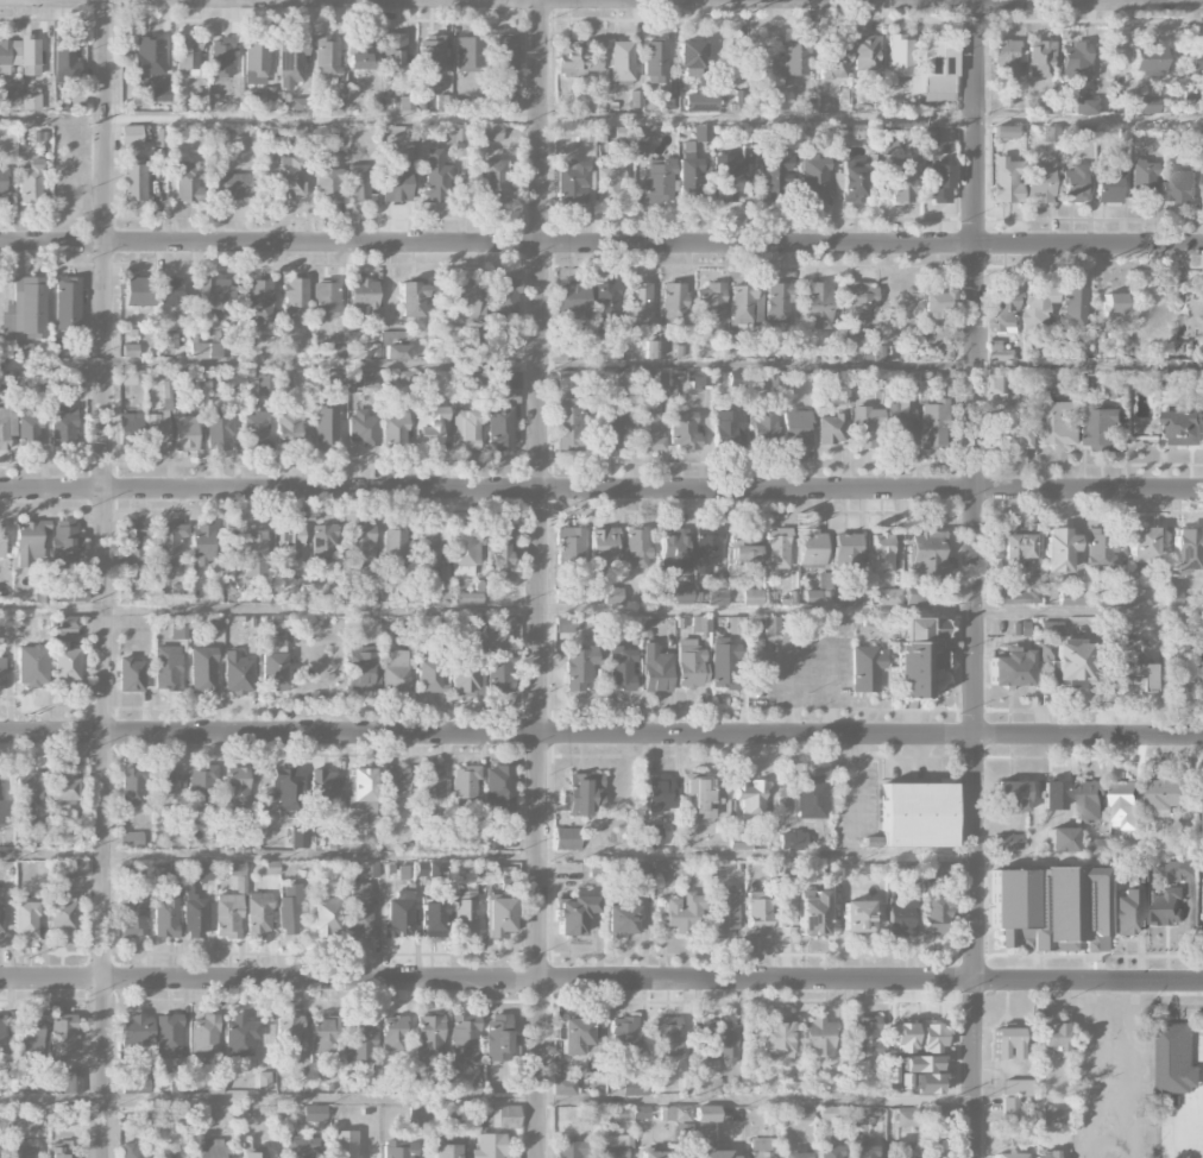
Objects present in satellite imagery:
road: (1089, 0)
building: (393, 51)
building: (865, 52)
building: (467, 54)
building: (503, 54)
building: (359, 55)
building: (899, 55)
building: (21, 56)
building: (149, 56)
building: (188, 56)
building: (1004, 56)
building: (64, 57)
building: (220, 57)
building: (432, 57)
building: (792, 57)
building: (834, 57)
building: (326, 58)
building: (689, 58)
building: (1148, 58)
building: (1039, 59)
building: (575, 61)
building: (1198, 61)
building: (256, 62)
building: (289, 62)
building: (655, 62)
building: (1075, 62)
building: (936, 71)
building: (1004, 77)
building: (158, 94)
building: (1186, 97)
building: (2, 100)
building: (340, 101)
building: (667, 101)
building: (30, 102)
building: (701, 102)
building: (1144, 105)
building: (1084, 107)
road: (654, 118)
building: (850, 132)
building: (1003, 132)
building: (644, 133)
building: (132, 134)
building: (218, 134)
building: (454, 136)
building: (928, 136)
building: (491, 137)
building: (888, 139)
building: (773, 172)
building: (688, 174)
building: (730, 175)
building: (134, 178)
building: (290, 178)
building: (813, 178)
building: (395, 180)
building: (493, 180)
building: (1006, 180)
building: (2, 181)
building: (185, 181)
building: (659, 181)
building: (1038, 181)
building: (1142, 181)
building: (31, 182)
building: (327, 182)
building: (357, 182)
building: (436, 182)
building: (573, 182)
building: (897, 183)
building: (938, 183)
building: (1076, 183)
building: (851, 184)
building: (232, 185)
building: (609, 185)
building: (1107, 185)
building: (1180, 187)
road: (600, 245)
building: (137, 291)
building: (172, 291)
building: (363, 294)
building: (503, 296)
building: (326, 298)
building: (294, 300)
building: (410, 300)
building: (212, 301)
building: (465, 301)
building: (572, 301)
building: (673, 302)
building: (67, 303)
building: (711, 303)
building: (777, 303)
building: (936, 303)
building: (638, 304)
building: (742, 304)
building: (817, 304)
building: (1114, 304)
building: (258, 306)
building: (758, 306)
building: (609, 307)
building: (26, 308)
building: (859, 308)
building: (1038, 308)
building: (1075, 308)
building: (1006, 309)
building: (1193, 317)
building: (170, 341)
building: (471, 346)
building: (130, 350)
building: (206, 351)
building: (396, 351)
building: (336, 352)
building: (874, 353)
road: (600, 366)
building: (133, 377)
building: (1115, 377)
building: (369, 379)
building: (657, 379)
building: (699, 379)
building: (575, 380)
building: (625, 380)
building: (1171, 380)
building: (7, 382)
building: (442, 384)
building: (510, 384)
building: (1000, 384)
building: (264, 385)
building: (159, 420)
building: (899, 421)
building: (567, 424)
building: (6, 426)
building: (62, 426)
building: (428, 426)
building: (932, 426)
building: (1060, 426)
building: (289, 427)
building: (363, 427)
building: (865, 427)
building: (1103, 427)
building: (1186, 427)
building: (498, 428)
building: (648, 428)
building: (219, 429)
building: (326, 429)
building: (612, 429)
building: (767, 429)
building: (831, 429)
building: (29, 430)
building: (128, 430)
building: (256, 430)
building: (465, 430)
building: (684, 430)
building: (728, 430)
building: (796, 430)
building: (395, 432)
building: (184, 433)
building: (1014, 436)
road: (601, 490)
building: (1, 540)
building: (29, 541)
building: (1142, 541)
building: (133, 542)
building: (202, 542)
building: (323, 542)
building: (169, 543)
building: (710, 543)
building: (359, 546)
building: (395, 546)
building: (427, 546)
building: (500, 546)
building: (289, 547)
building: (637, 547)
building: (1014, 547)
building: (465, 548)
building: (603, 548)
building: (776, 548)
building: (1101, 548)
building: (1185, 548)
building: (569, 549)
building: (812, 549)
building: (67, 550)
building: (1057, 550)
building: (254, 552)
building: (676, 552)
building: (927, 553)
building: (846, 554)
building: (881, 554)
building: (745, 555)
road: (103, 578)
road: (540, 578)
road: (975, 579)
building: (717, 591)
building: (675, 593)
building: (1173, 593)
building: (71, 596)
building: (266, 596)
building: (304, 596)
building: (504, 596)
building: (563, 596)
building: (612, 596)
building: (1110, 596)
building: (752, 597)
building: (824, 597)
building: (852, 597)
building: (889, 597)
building: (1133, 597)
building: (468, 598)
building: (1015, 598)
road: (601, 611)
building: (214, 622)
building: (281, 623)
building: (563, 623)
building: (701, 624)
building: (1185, 624)
building: (732, 625)
building: (771, 627)
building: (178, 628)
building: (1043, 650)
building: (67, 652)
building: (918, 655)
building: (1069, 662)
building: (691, 665)
building: (725, 665)
building: (32, 666)
building: (578, 667)
building: (1201, 667)
building: (168, 668)
building: (361, 668)
building: (622, 668)
building: (865, 668)
building: (1010, 668)
building: (202, 669)
building: (655, 669)
building: (272, 671)
building: (500, 671)
building: (396, 672)
building: (465, 672)
building: (2, 673)
building: (237, 673)
building: (131, 674)
building: (429, 675)
building: (1127, 676)
road: (601, 730)
building: (396, 780)
building: (464, 781)
building: (168, 782)
building: (430, 782)
building: (323, 785)
building: (132, 786)
building: (202, 787)
building: (285, 788)
building: (498, 788)
building: (360, 789)
building: (27, 791)
building: (64, 791)
building: (237, 792)
building: (582, 794)
building: (660, 794)
building: (1012, 794)
building: (1054, 794)
building: (701, 795)
building: (1165, 795)
building: (750, 797)
building: (807, 798)
building: (1090, 801)
building: (1125, 804)
building: (915, 816)
building: (651, 836)
building: (300, 837)
building: (567, 838)
building: (131, 839)
building: (1062, 839)
building: (793, 841)
building: (741, 842)
building: (1007, 842)
road: (51, 855)
road: (651, 856)
building: (75, 867)
building: (238, 868)
building: (666, 868)
building: (638, 869)
building: (786, 869)
building: (1182, 869)
building: (175, 870)
building: (202, 873)
building: (367, 873)
building: (238, 883)
building: (1165, 906)
building: (359, 908)
building: (1048, 908)
building: (465, 910)
building: (934, 910)
building: (725, 911)
building: (757, 912)
building: (165, 913)
building: (685, 913)
building: (899, 913)
building: (1126, 913)
building: (258, 914)
building: (574, 914)
building: (812, 914)
building: (196, 915)
building: (227, 915)
building: (399, 915)
building: (855, 915)
building: (63, 917)
building: (288, 917)
building: (323, 917)
building: (499, 917)
building: (0, 918)
building: (133, 918)
building: (26, 919)
building: (433, 919)
building: (622, 919)
road: (601, 978)
building: (125, 1031)
building: (141, 1031)
building: (392, 1033)
building: (2, 1034)
building: (29, 1034)
building: (240, 1034)
building: (61, 1036)
building: (575, 1036)
building: (624, 1036)
building: (666, 1036)
building: (865, 1036)
building: (168, 1037)
building: (204, 1037)
building: (323, 1037)
building: (498, 1037)
building: (1053, 1037)
building: (464, 1038)
building: (818, 1038)
building: (289, 1039)
building: (429, 1039)
building: (719, 1040)
building: (775, 1040)
building: (359, 1041)
building: (1007, 1043)
building: (1178, 1059)
road: (1090, 1069)
road: (1133, 1070)
building: (263, 1080)
building: (669, 1080)
building: (73, 1081)
building: (134, 1082)
building: (214, 1084)
building: (403, 1087)
building: (563, 1087)
building: (629, 1087)
building: (707, 1087)
building: (1016, 1087)
road: (486, 1100)
building: (454, 1112)
building: (209, 1113)
building: (314, 1113)
building: (418, 1113)
building: (634, 1113)
building: (682, 1113)
building: (805, 1113)
building: (833, 1113)
building: (706, 1114)
building: (1051, 1115)
building: (503, 1116)
building: (907, 1116)
building: (685, 1132)
road: (1070, 1138)
building: (344, 1144)
building: (490, 1146)
building: (612, 1146)
building: (252, 1147)
building: (302, 1147)
building: (25, 1148)
building: (209, 1148)
building: (760, 1148)
building: (59, 1150)
building: (133, 1150)
building: (170, 1150)
building: (399, 1150)
building: (572, 1150)
building: (899, 1150)
building: (445, 1151)
building: (827, 1151)
building: (863, 1151)
building: (714, 1153)
building: (251, 1154)
building: (659, 1154)
building: (793, 1154)
building: (1008, 1154)
building: (1045, 1154)

